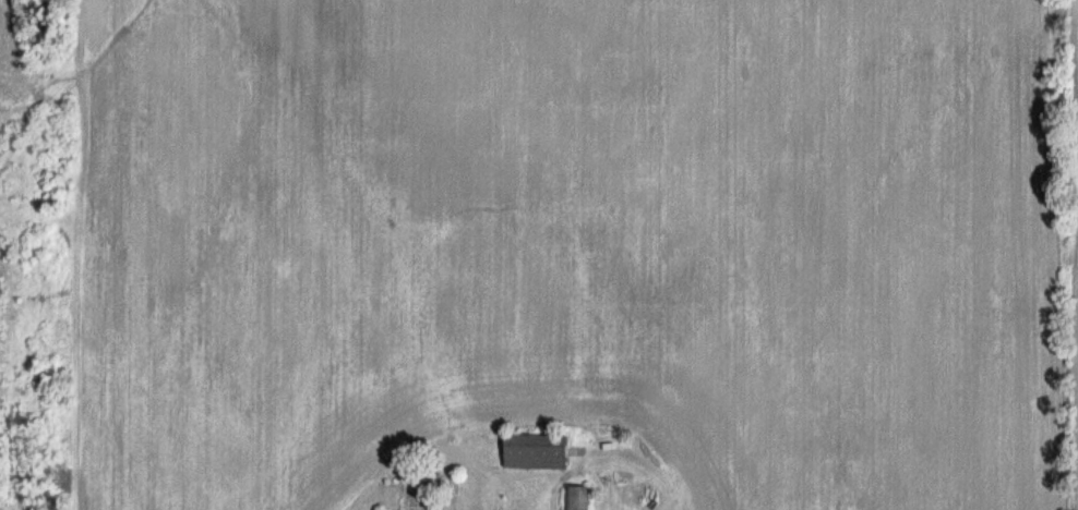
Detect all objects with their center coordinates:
crop: (559, 245)
building: (537, 451)
building: (577, 498)

